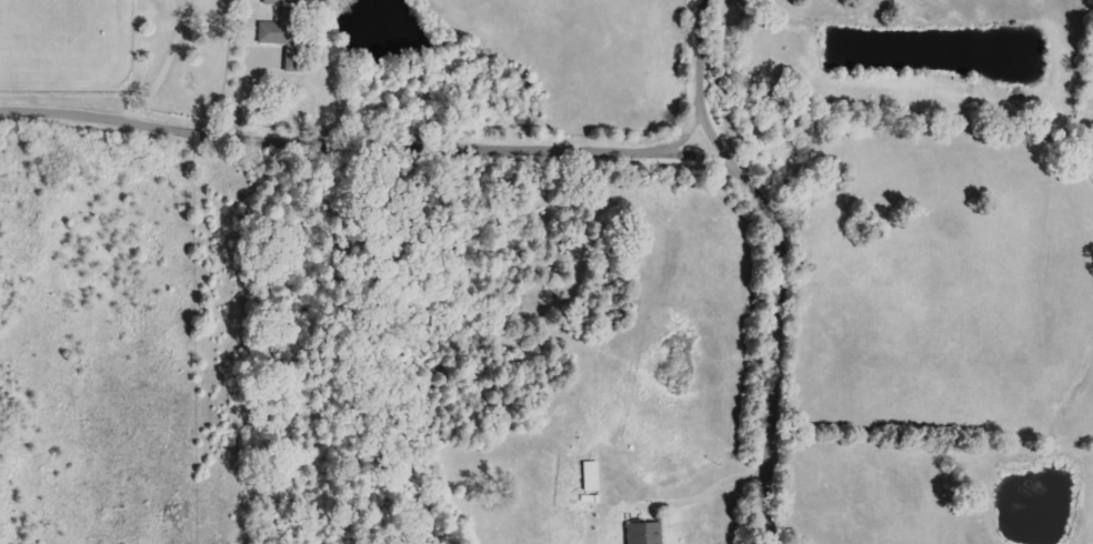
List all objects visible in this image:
building: (273, 1)
building: (288, 34)
road: (132, 58)
road: (706, 71)
road: (353, 132)
road: (776, 330)
building: (591, 476)
road: (705, 493)
building: (644, 533)

